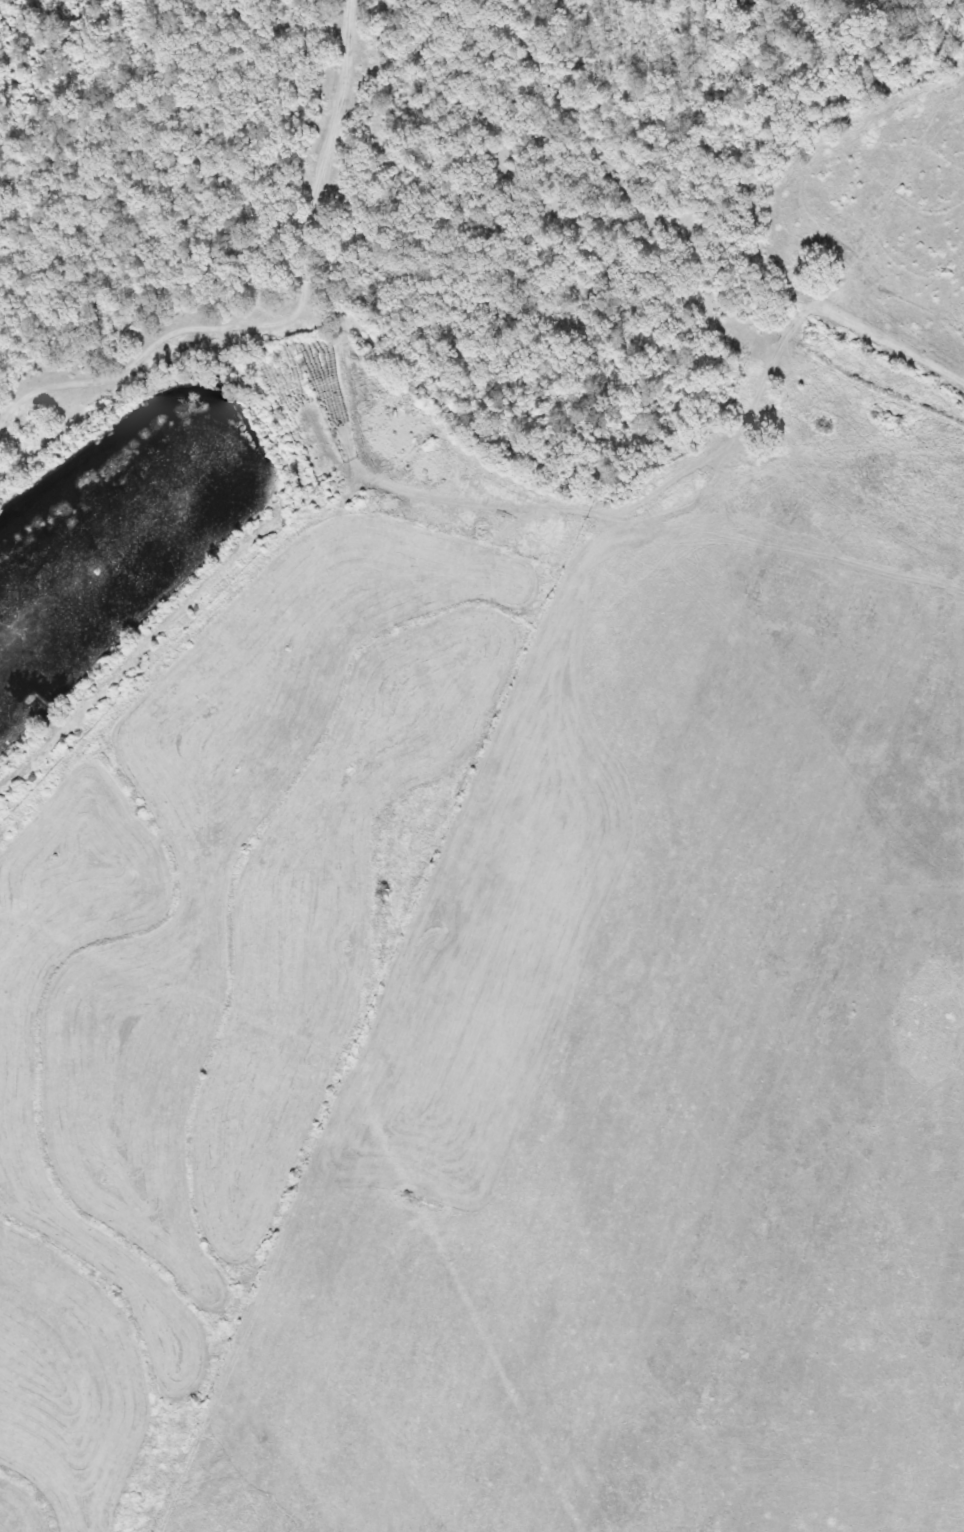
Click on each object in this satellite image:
road: (321, 16)
road: (95, 403)

